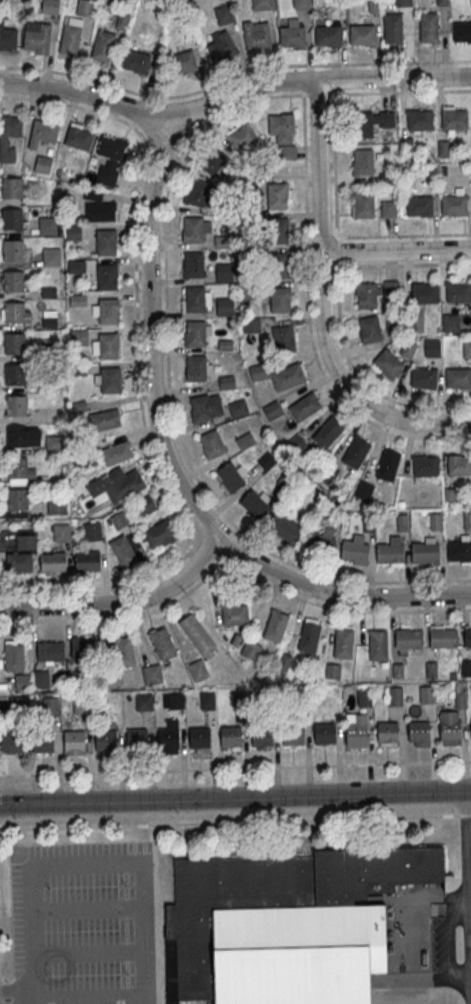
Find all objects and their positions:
building: (403, 2)
building: (301, 3)
building: (262, 4)
building: (50, 6)
building: (84, 7)
building: (223, 13)
building: (122, 20)
building: (393, 27)
building: (428, 27)
building: (462, 31)
building: (293, 34)
building: (362, 34)
building: (327, 35)
building: (7, 36)
building: (70, 36)
building: (257, 36)
building: (36, 37)
building: (102, 46)
building: (221, 46)
building: (135, 61)
building: (185, 61)
road: (232, 77)
road: (401, 91)
road: (318, 93)
road: (226, 94)
road: (79, 105)
building: (454, 117)
building: (420, 119)
building: (373, 121)
building: (43, 132)
building: (283, 133)
building: (9, 136)
building: (78, 136)
building: (242, 136)
building: (443, 147)
building: (110, 158)
building: (214, 160)
building: (362, 161)
building: (43, 163)
road: (318, 166)
building: (11, 189)
building: (199, 192)
building: (277, 195)
building: (363, 204)
building: (98, 206)
building: (454, 206)
building: (419, 207)
building: (388, 208)
building: (11, 220)
building: (47, 224)
building: (280, 229)
building: (73, 231)
building: (192, 231)
road: (336, 231)
building: (105, 243)
building: (12, 251)
building: (51, 256)
building: (281, 263)
building: (76, 266)
building: (193, 266)
building: (224, 271)
building: (106, 278)
building: (13, 282)
building: (458, 291)
building: (374, 292)
building: (424, 292)
building: (280, 298)
building: (77, 299)
building: (194, 301)
building: (224, 306)
building: (107, 312)
building: (14, 313)
road: (322, 315)
building: (50, 316)
road: (338, 316)
road: (309, 320)
building: (392, 320)
building: (416, 320)
building: (451, 323)
building: (251, 324)
building: (369, 328)
building: (195, 335)
building: (79, 336)
building: (283, 337)
road: (150, 338)
building: (14, 344)
building: (108, 347)
building: (432, 348)
building: (408, 349)
building: (467, 349)
building: (387, 363)
building: (195, 370)
building: (15, 374)
building: (281, 374)
building: (423, 377)
building: (458, 377)
building: (110, 381)
building: (227, 381)
road: (171, 400)
building: (304, 405)
building: (16, 406)
building: (205, 406)
building: (238, 407)
building: (272, 409)
building: (105, 419)
building: (327, 432)
building: (16, 436)
building: (245, 439)
building: (54, 441)
building: (212, 444)
building: (356, 451)
building: (117, 452)
road: (152, 454)
building: (267, 460)
building: (387, 464)
building: (459, 464)
building: (425, 465)
building: (17, 467)
building: (231, 474)
building: (116, 484)
building: (363, 490)
building: (449, 495)
building: (17, 499)
building: (256, 502)
building: (146, 504)
building: (56, 505)
building: (435, 520)
building: (467, 520)
building: (402, 521)
building: (284, 526)
building: (92, 530)
building: (61, 532)
building: (160, 533)
road: (201, 533)
building: (25, 541)
road: (249, 541)
building: (319, 541)
road: (213, 546)
building: (354, 549)
building: (123, 550)
road: (242, 550)
building: (426, 550)
building: (459, 550)
building: (390, 551)
building: (87, 560)
building: (18, 561)
building: (53, 563)
road: (338, 595)
road: (122, 603)
road: (341, 606)
building: (235, 613)
road: (129, 616)
building: (276, 625)
building: (197, 634)
building: (309, 634)
building: (443, 635)
building: (467, 635)
building: (408, 638)
building: (378, 641)
building: (162, 642)
building: (343, 642)
building: (81, 646)
building: (251, 649)
building: (50, 650)
building: (124, 651)
building: (13, 655)
building: (466, 667)
building: (198, 670)
building: (332, 670)
building: (152, 673)
building: (41, 678)
building: (21, 681)
building: (426, 694)
building: (460, 694)
building: (394, 695)
building: (363, 697)
building: (207, 699)
building: (172, 700)
building: (144, 701)
building: (81, 703)
building: (50, 704)
building: (450, 730)
building: (420, 731)
building: (357, 732)
building: (388, 732)
building: (324, 733)
building: (293, 734)
building: (262, 735)
building: (230, 736)
building: (200, 737)
building: (137, 738)
building: (168, 738)
building: (105, 740)
building: (43, 741)
building: (74, 741)
building: (14, 743)
road: (235, 767)
road: (235, 794)
road: (235, 821)
road: (468, 861)
road: (143, 876)
road: (88, 906)
road: (155, 914)
park: (217, 914)
parking lot: (84, 922)
building: (285, 924)
road: (34, 935)
road: (451, 943)
road: (90, 952)
road: (19, 987)
road: (91, 994)
road: (32, 1000)

